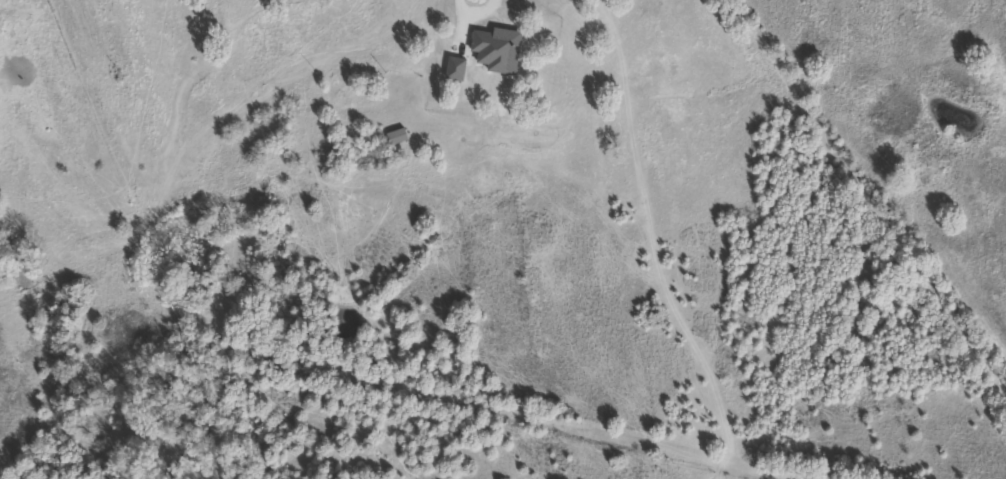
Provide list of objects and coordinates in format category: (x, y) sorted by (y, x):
building: (496, 84)
building: (391, 137)

